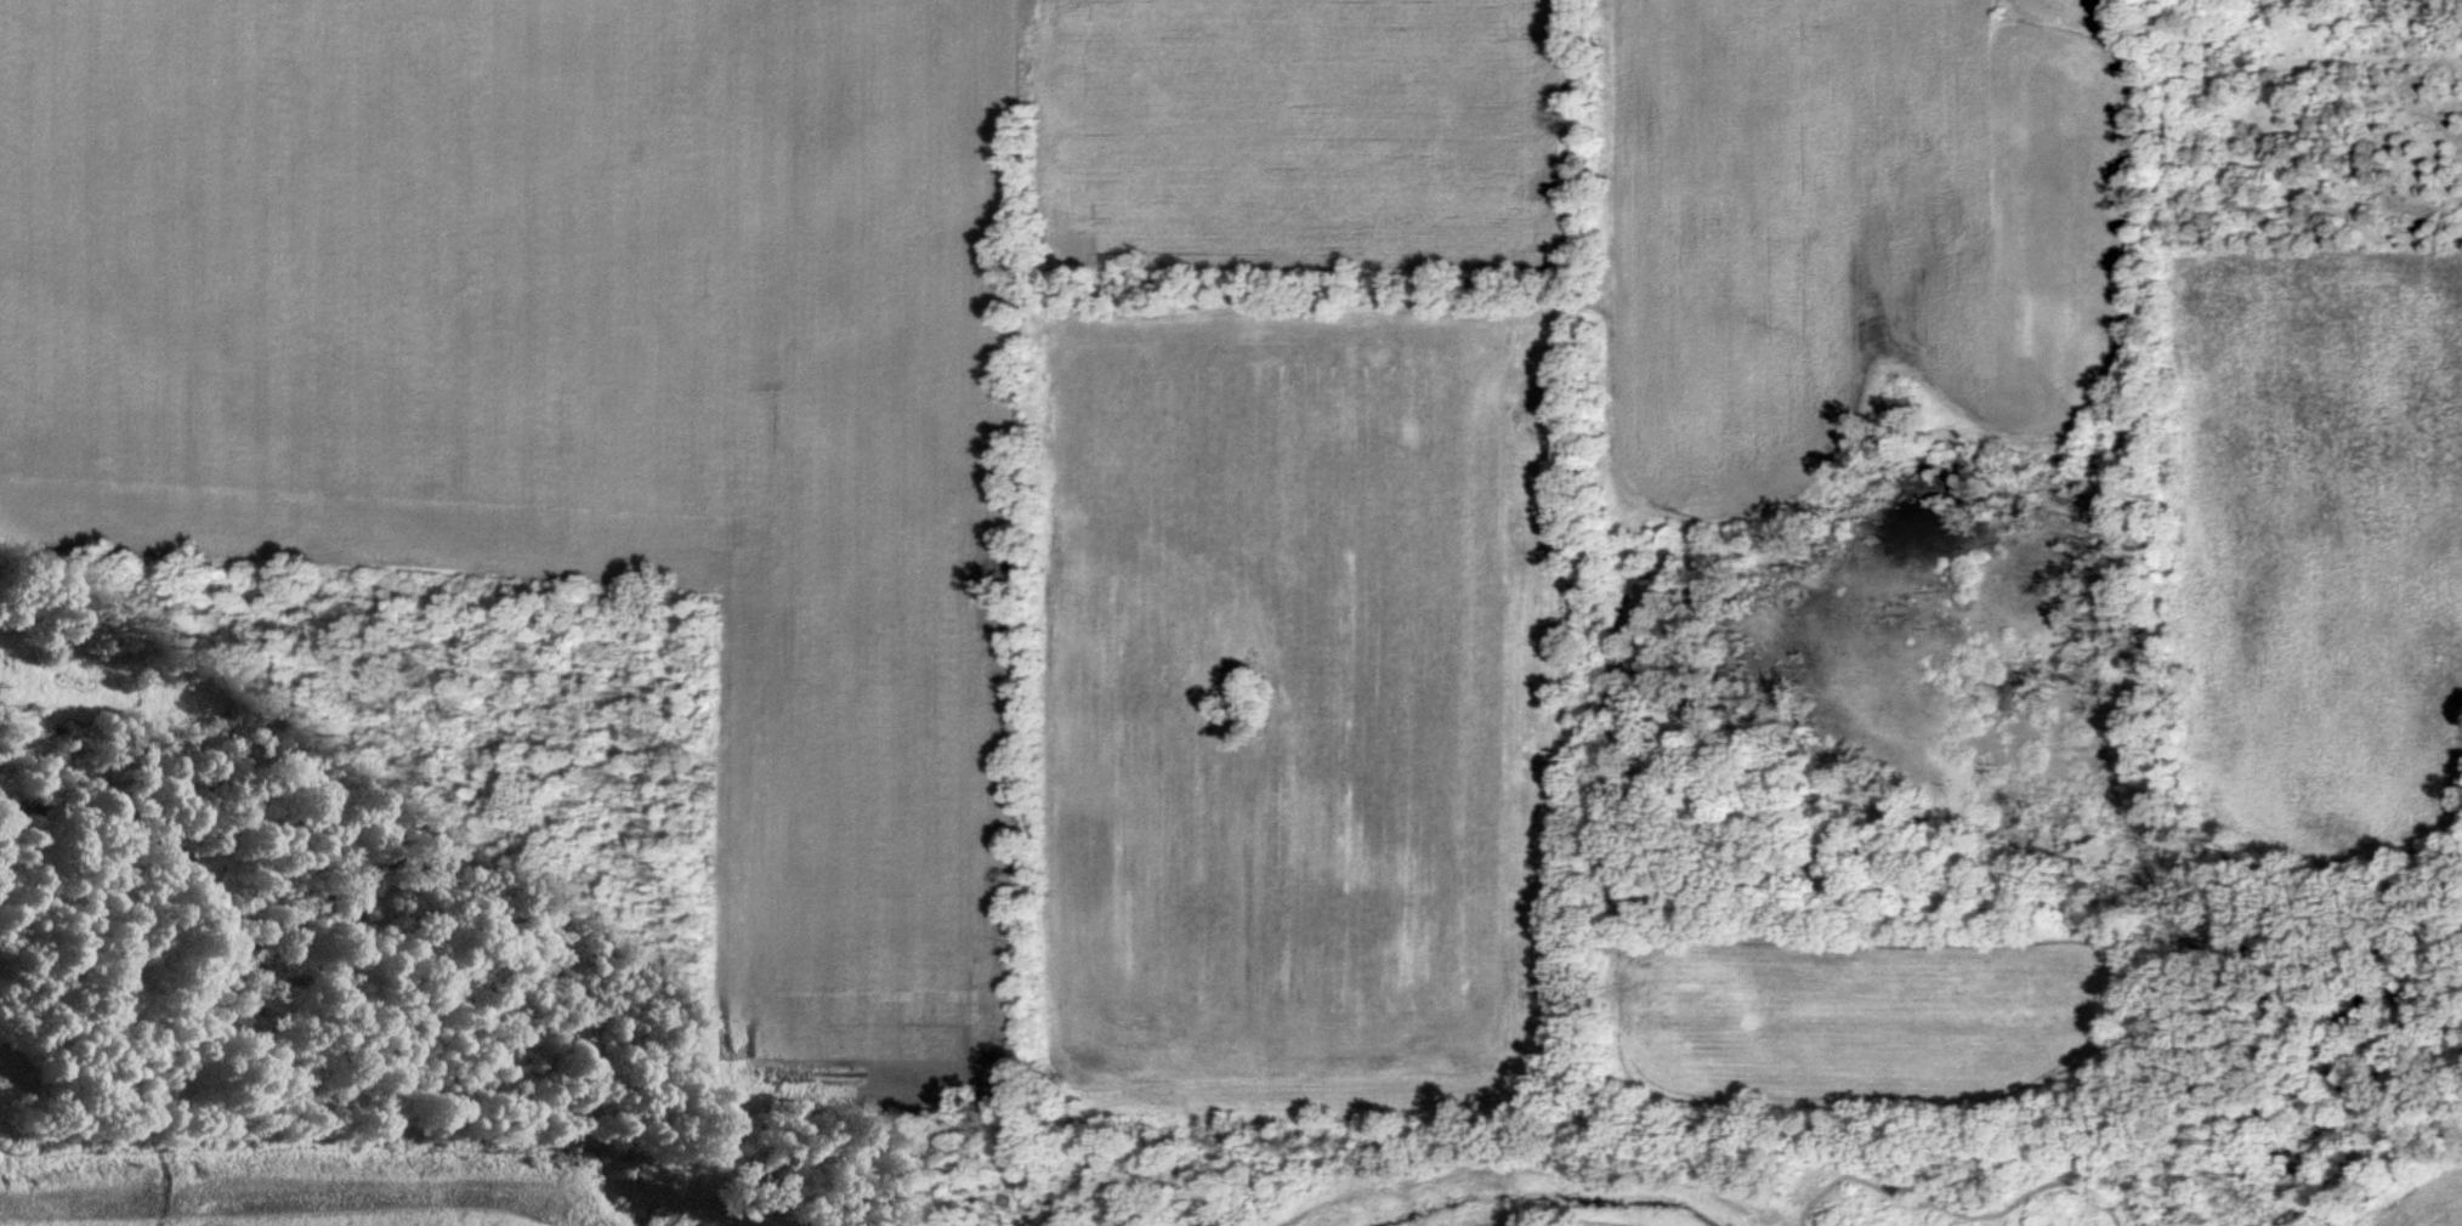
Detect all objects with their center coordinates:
crop: (586, 397)

